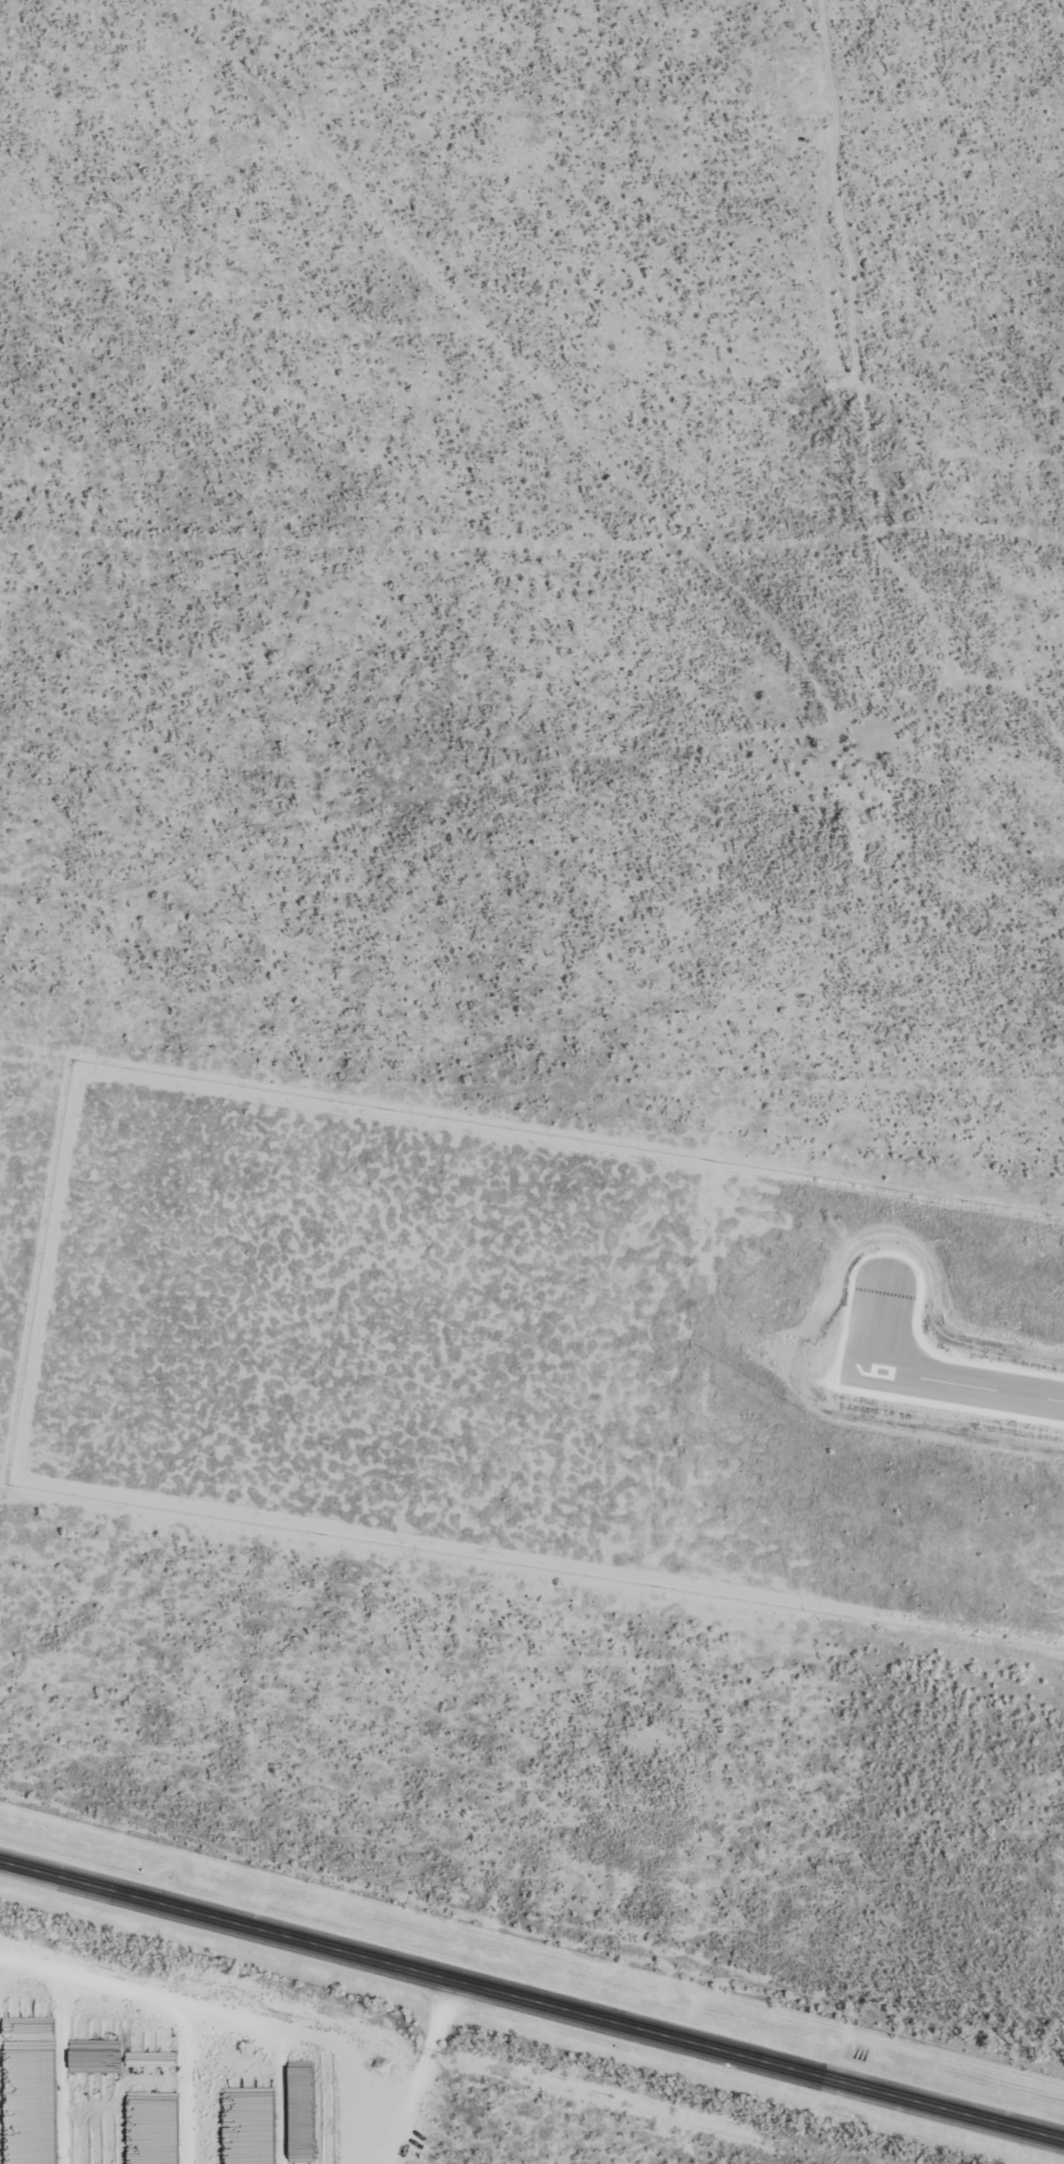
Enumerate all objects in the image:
road: (875, 387)
airport: (530, 1337)
airport runway: (954, 1375)
road: (531, 2008)

